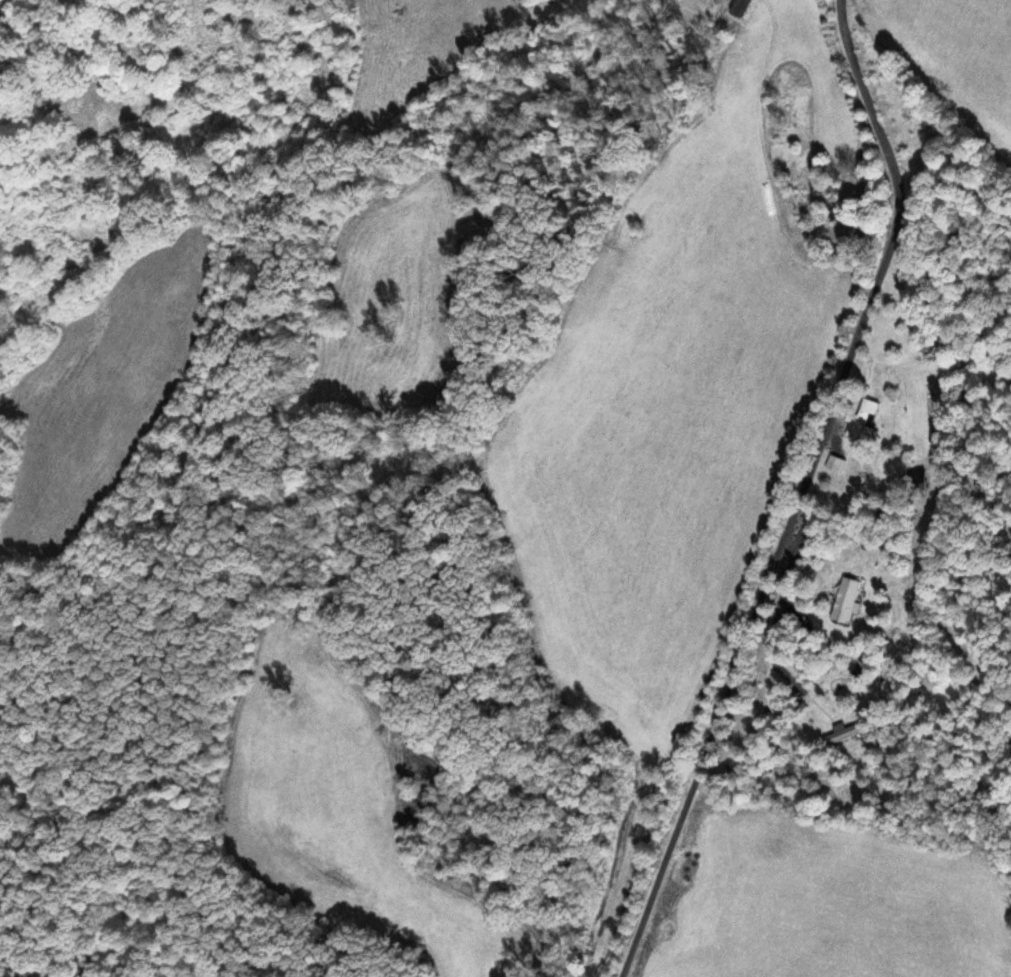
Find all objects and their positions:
building: (741, 7)
building: (867, 415)
building: (836, 463)
building: (917, 480)
road: (801, 492)
building: (846, 600)
building: (842, 736)

